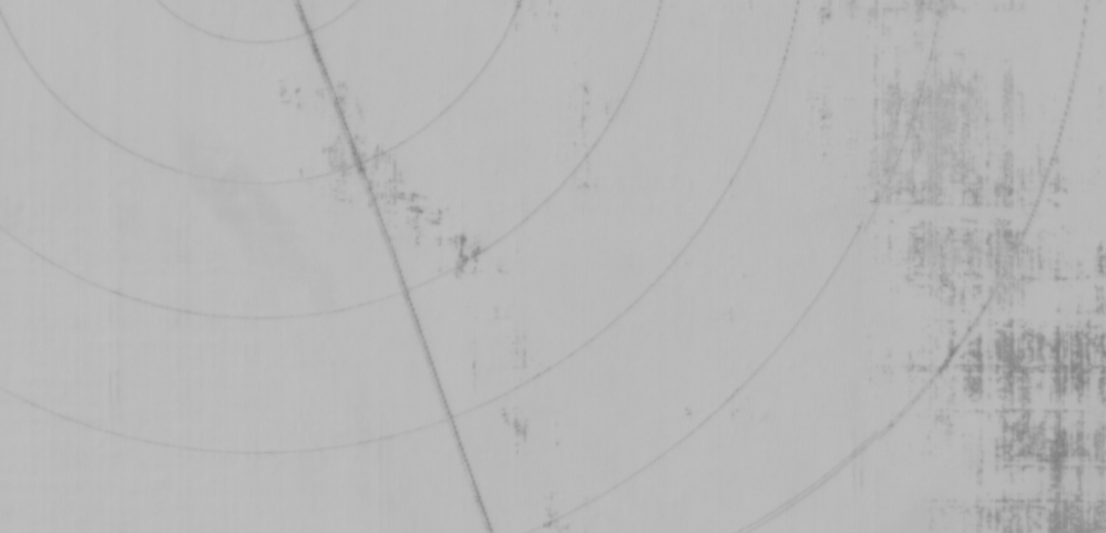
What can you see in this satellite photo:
crop: (553, 266)

